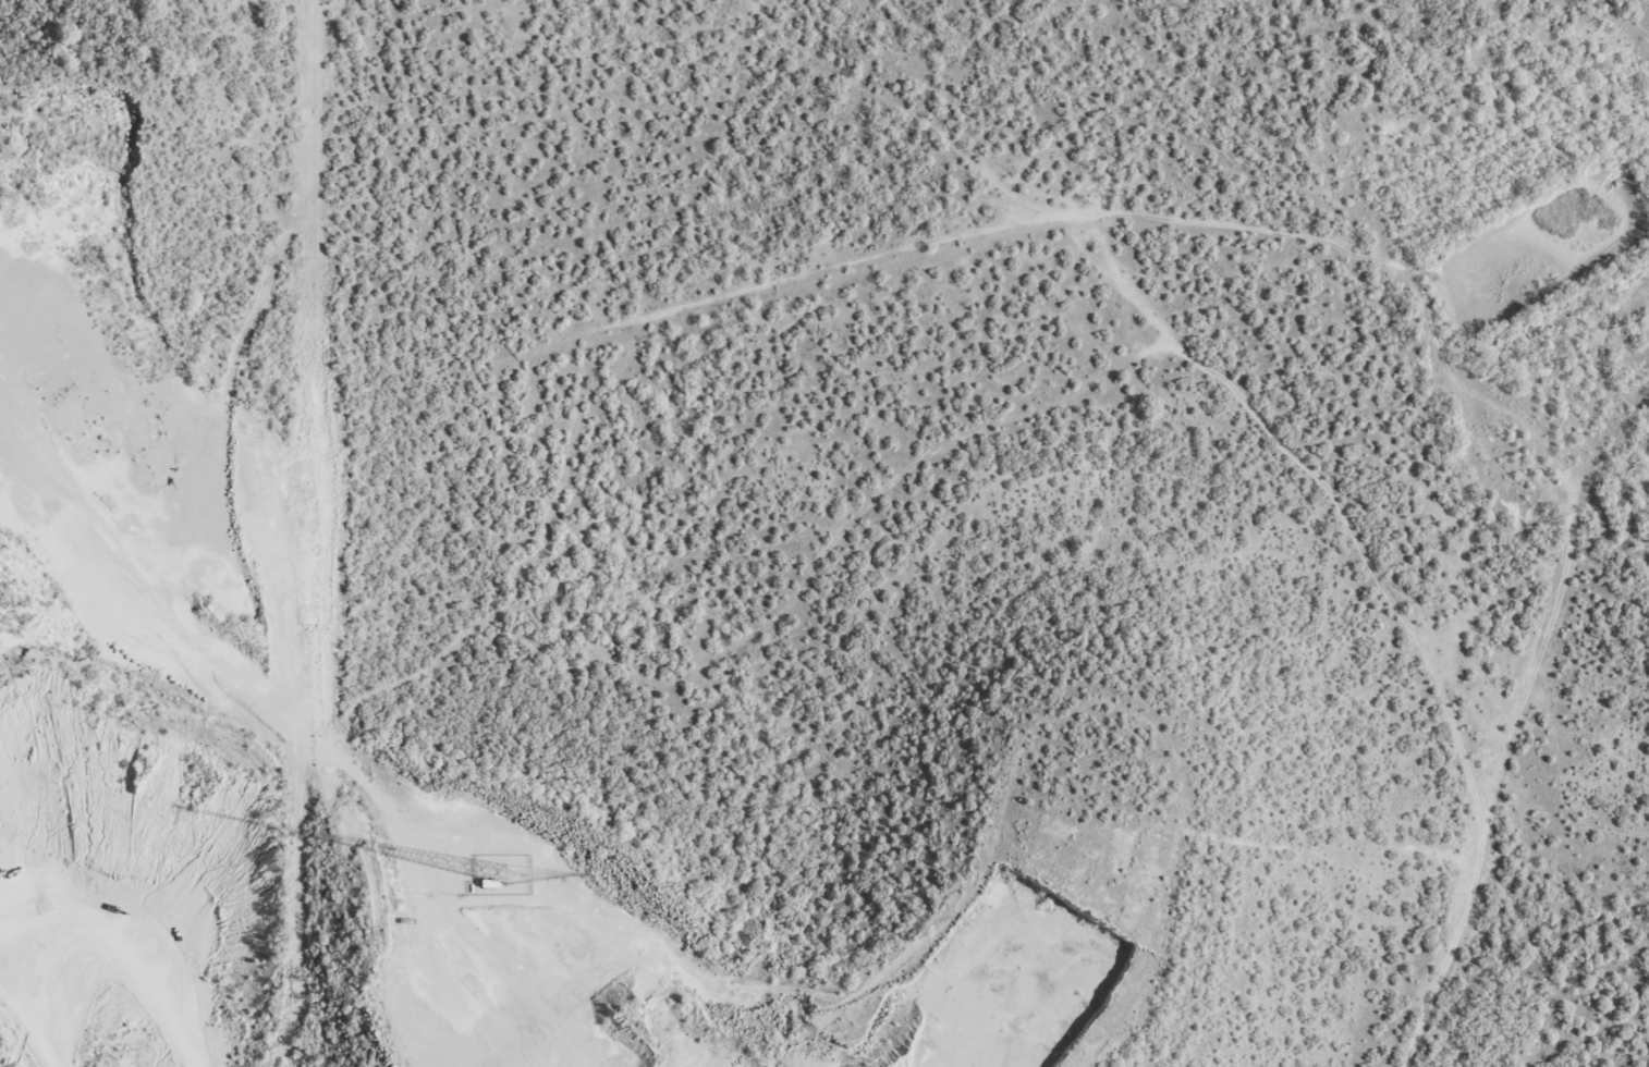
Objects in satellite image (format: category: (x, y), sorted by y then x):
road: (1410, 445)

